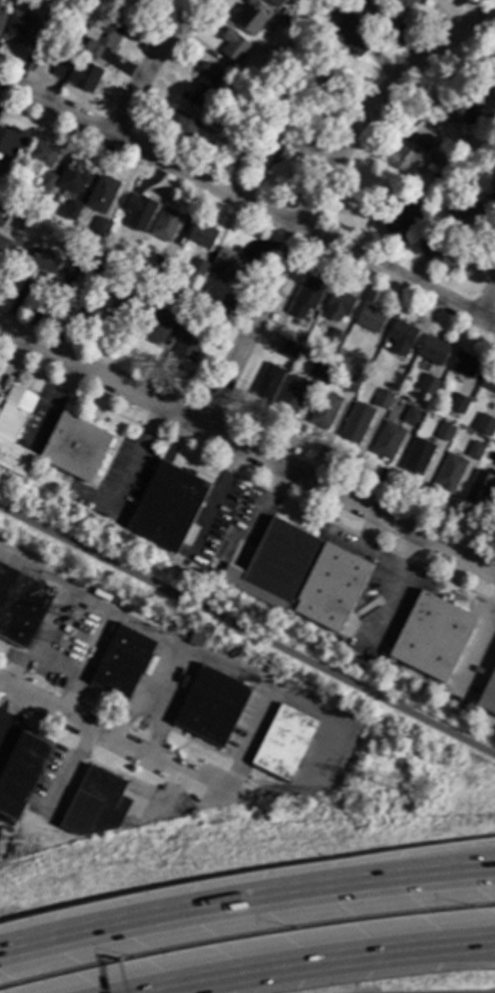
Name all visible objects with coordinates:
building: (138, 0)
building: (142, 0)
building: (0, 1)
building: (275, 1)
building: (56, 2)
building: (403, 2)
building: (249, 13)
building: (380, 13)
road: (493, 13)
building: (1, 17)
building: (21, 26)
building: (350, 31)
building: (315, 36)
building: (102, 37)
building: (231, 46)
building: (308, 47)
building: (277, 54)
road: (149, 65)
building: (489, 70)
building: (79, 75)
building: (201, 81)
building: (300, 81)
building: (472, 105)
building: (488, 111)
building: (489, 119)
building: (185, 123)
building: (10, 140)
building: (270, 143)
building: (437, 153)
building: (41, 156)
building: (401, 157)
building: (74, 176)
building: (47, 181)
building: (491, 192)
building: (102, 194)
road: (318, 195)
road: (247, 203)
building: (72, 210)
building: (138, 211)
building: (393, 212)
building: (2, 217)
building: (466, 217)
building: (166, 224)
building: (101, 226)
building: (201, 234)
building: (3, 245)
building: (90, 247)
building: (441, 249)
building: (99, 257)
building: (42, 259)
building: (159, 265)
building: (228, 266)
building: (70, 267)
building: (197, 267)
building: (305, 296)
building: (182, 299)
road: (486, 302)
building: (122, 304)
building: (337, 305)
building: (207, 308)
building: (370, 319)
building: (157, 326)
building: (335, 338)
building: (400, 338)
building: (189, 341)
building: (290, 350)
building: (433, 350)
building: (331, 353)
building: (464, 364)
building: (320, 368)
building: (360, 373)
building: (392, 379)
building: (488, 379)
building: (268, 381)
building: (349, 382)
building: (427, 386)
building: (292, 394)
building: (383, 399)
building: (458, 404)
building: (325, 411)
building: (413, 417)
building: (356, 423)
building: (485, 424)
building: (15, 431)
building: (444, 432)
building: (387, 442)
building: (75, 447)
road: (247, 449)
road: (139, 450)
building: (474, 451)
building: (417, 457)
building: (494, 464)
building: (494, 465)
building: (450, 473)
building: (479, 489)
road: (216, 501)
building: (168, 506)
building: (275, 565)
building: (331, 587)
building: (21, 606)
power tower: (78, 619)
road: (136, 626)
road: (247, 633)
building: (432, 637)
building: (196, 641)
road: (478, 642)
power tower: (66, 645)
building: (121, 662)
building: (488, 695)
building: (210, 705)
road: (11, 710)
road: (324, 722)
road: (108, 734)
building: (283, 742)
road: (71, 767)
building: (22, 773)
building: (423, 789)
power tower: (426, 791)
building: (96, 804)
power tower: (363, 807)
road: (440, 875)
road: (192, 914)
road: (319, 961)

